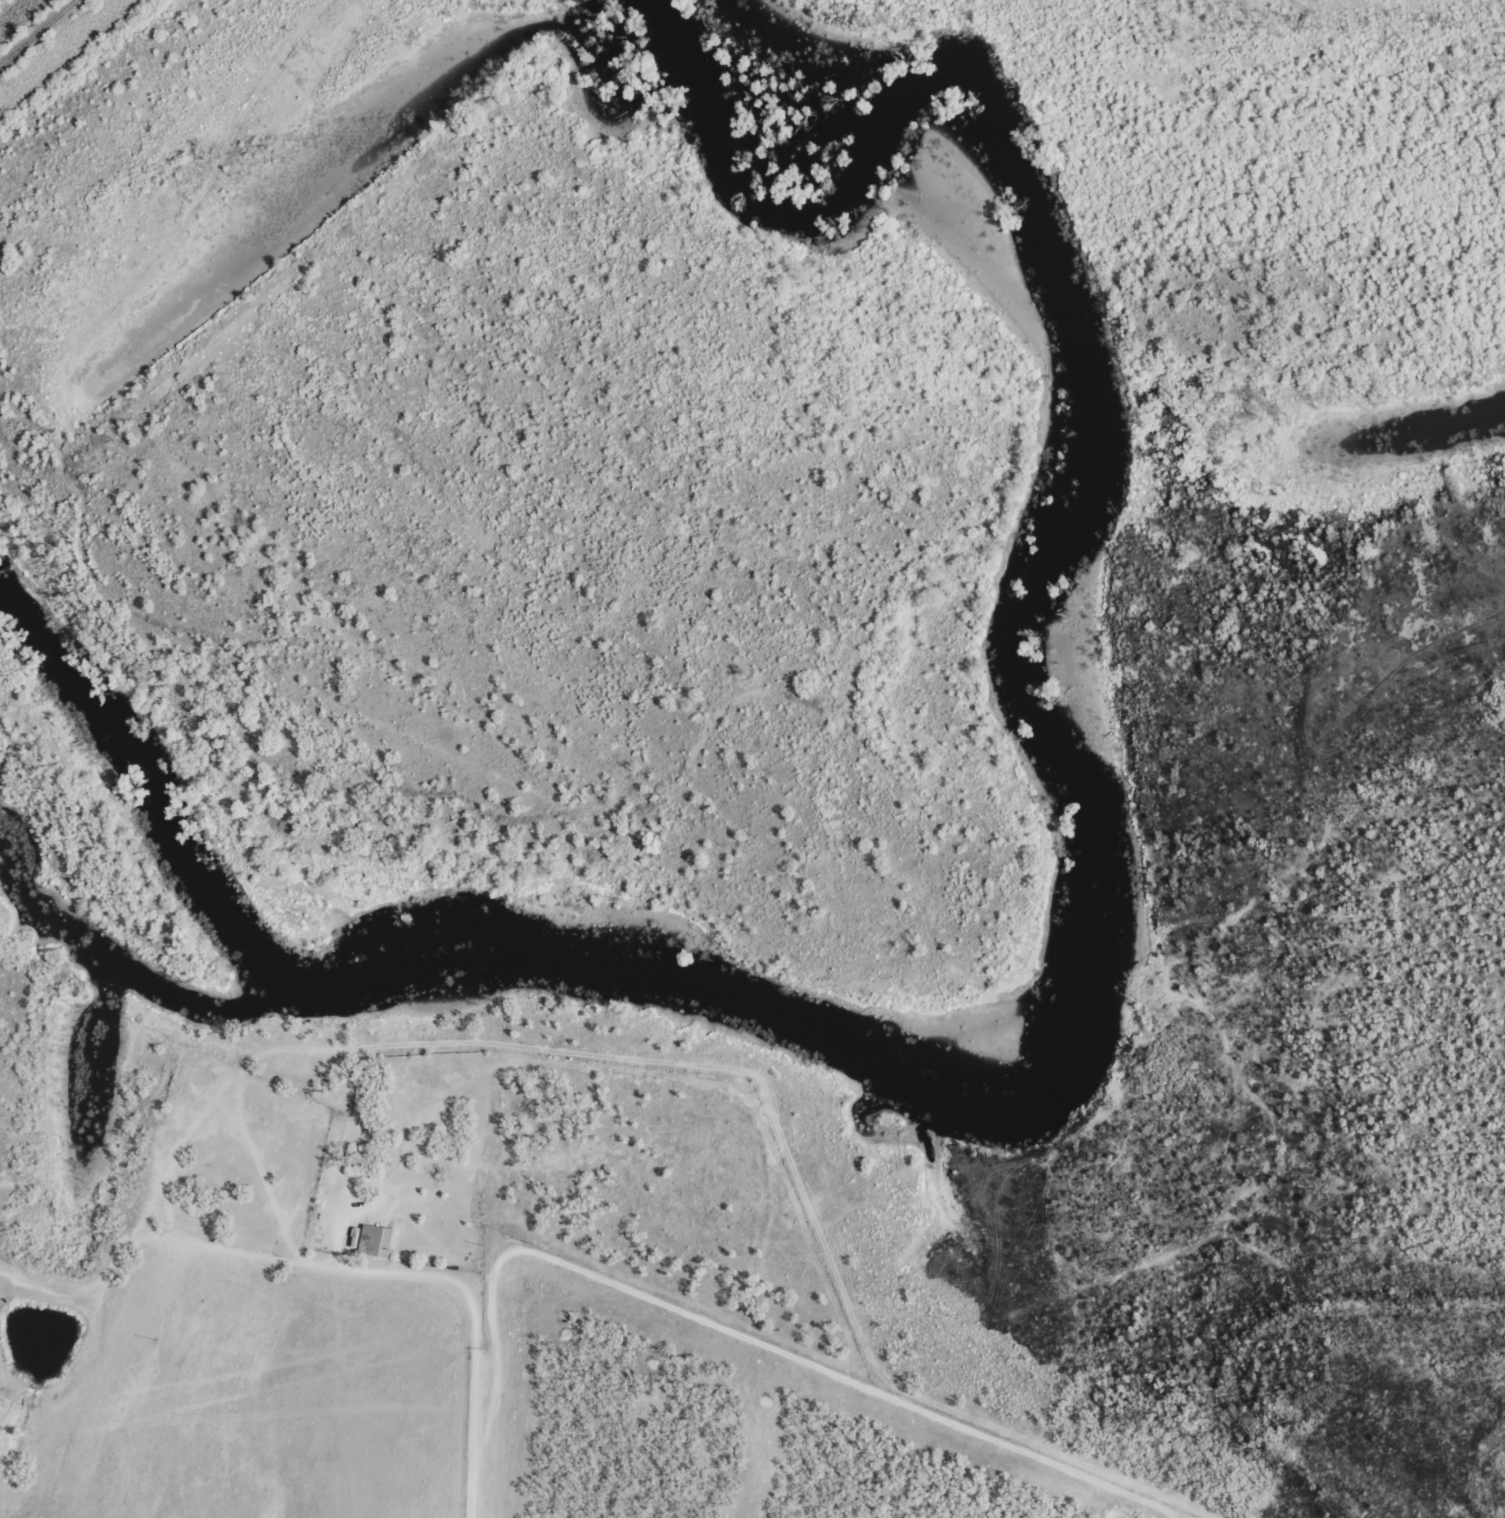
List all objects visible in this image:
railway: (38, 33)
river: (1100, 936)
road: (332, 1268)

